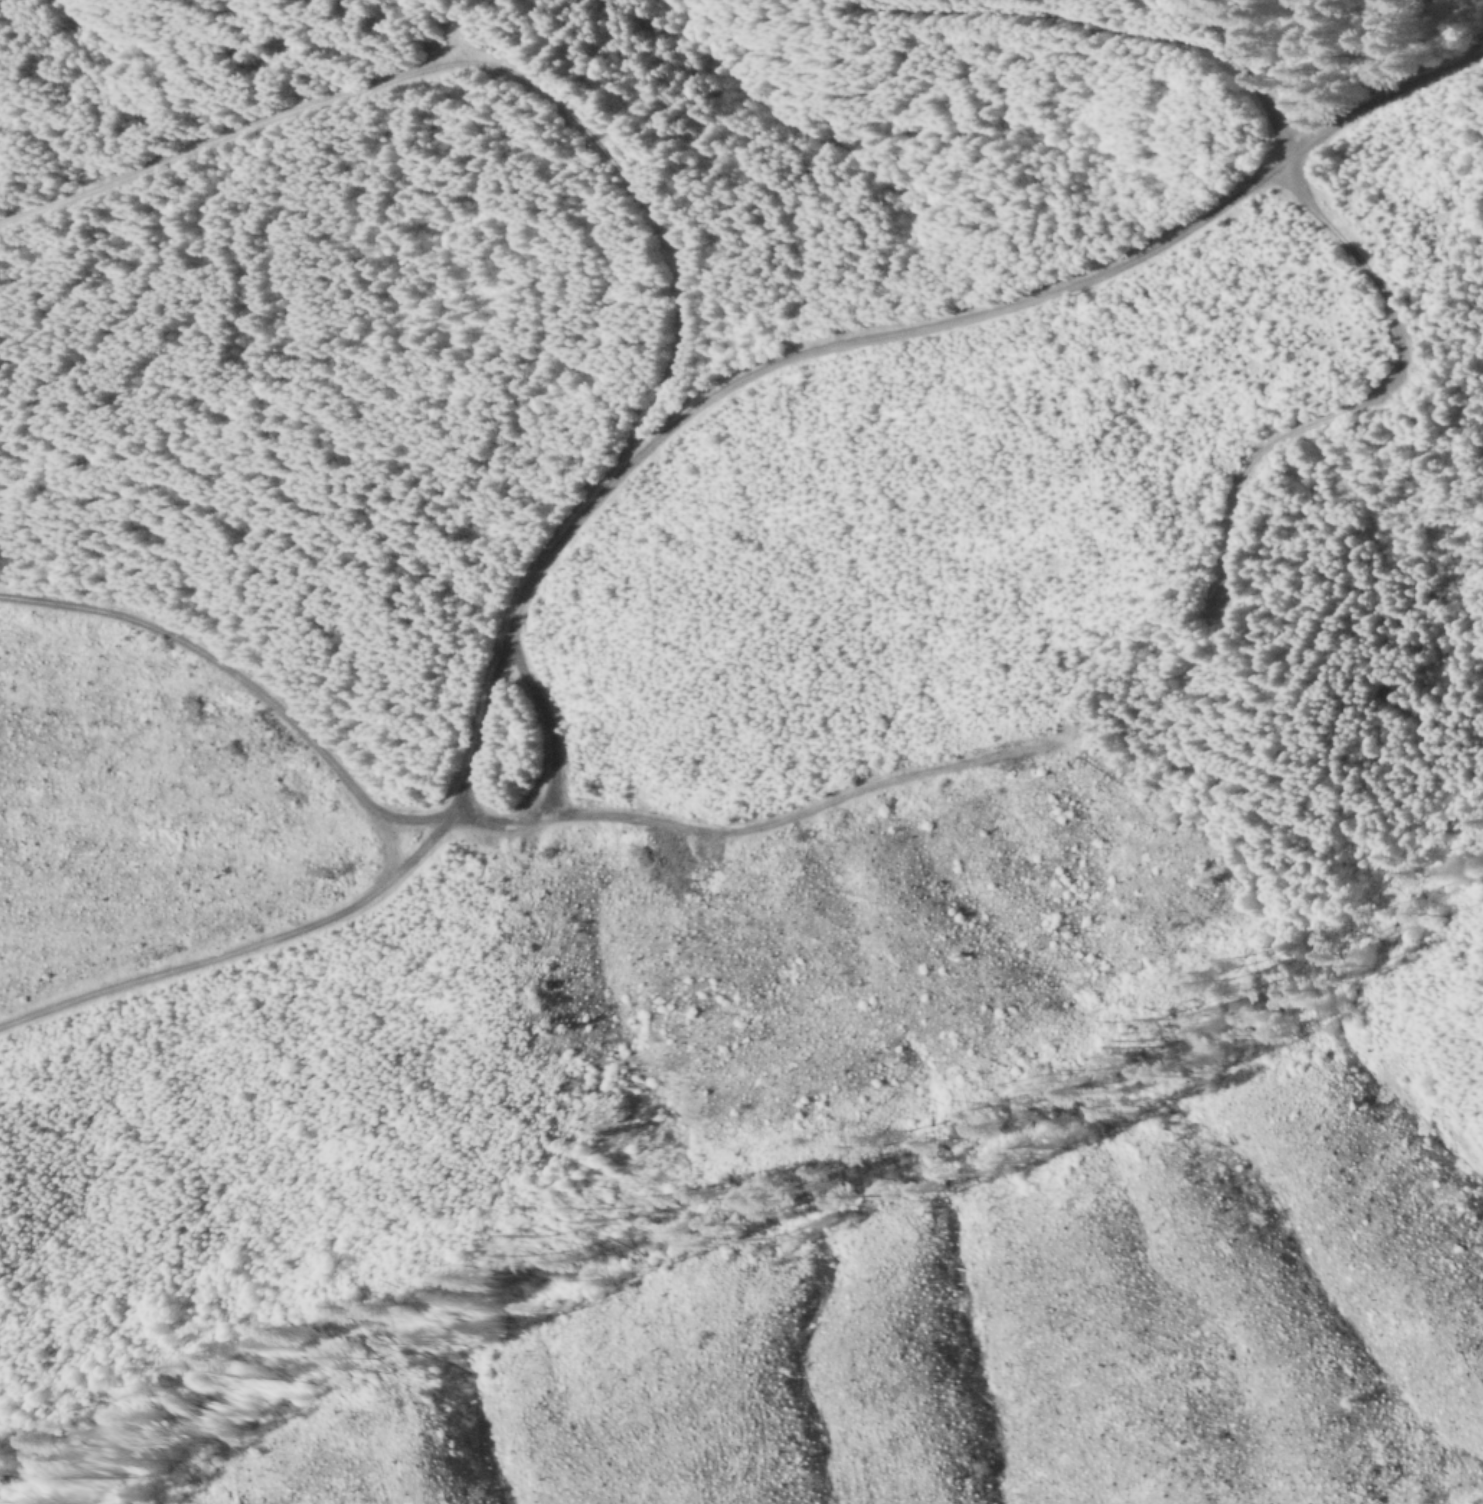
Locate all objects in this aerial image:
road: (663, 464)

